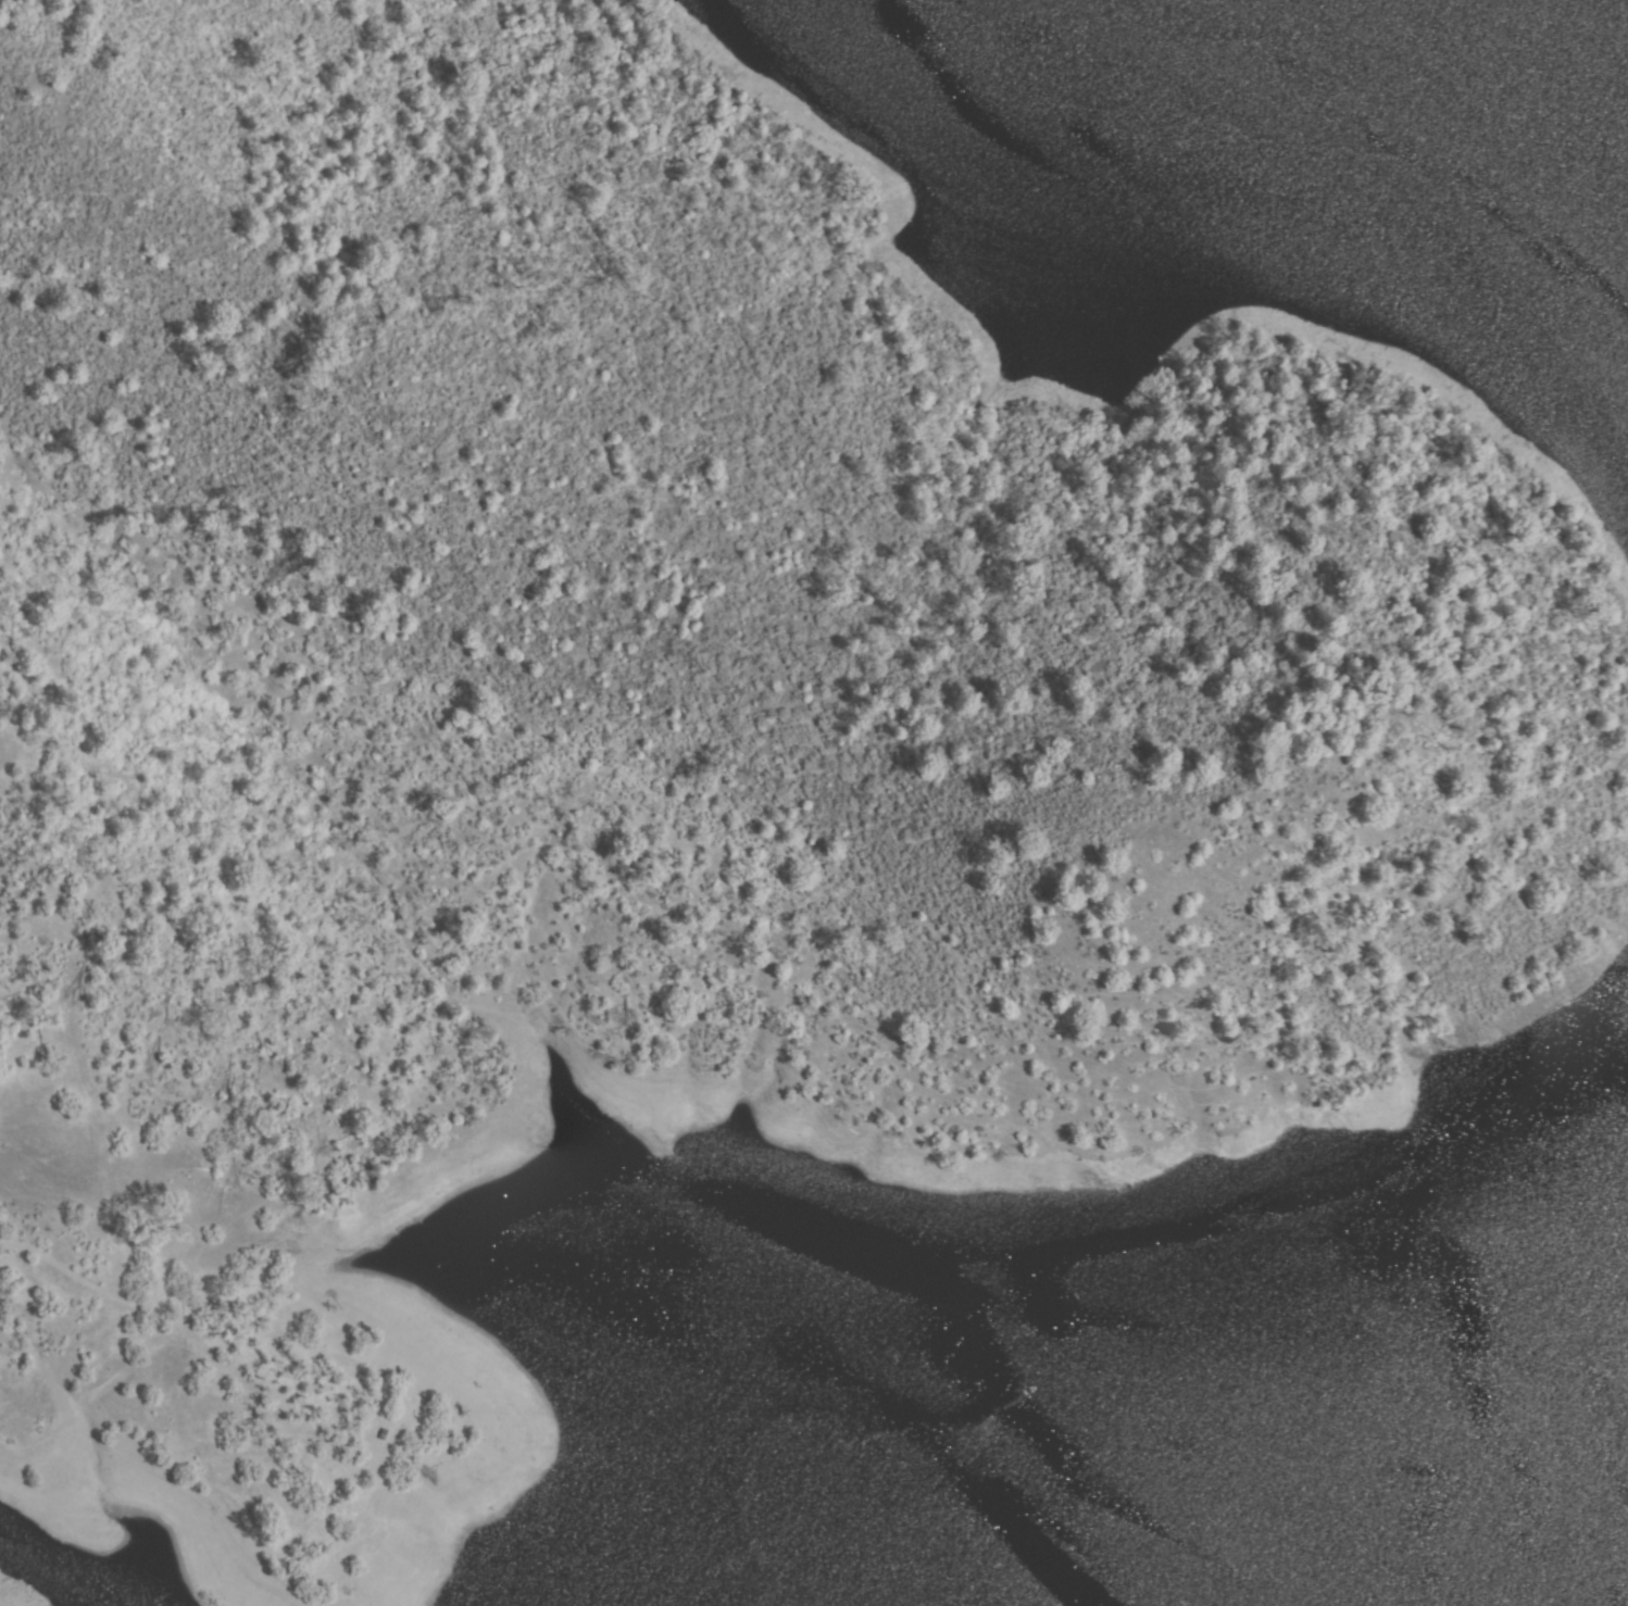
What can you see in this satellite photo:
road: (70, 1266)

